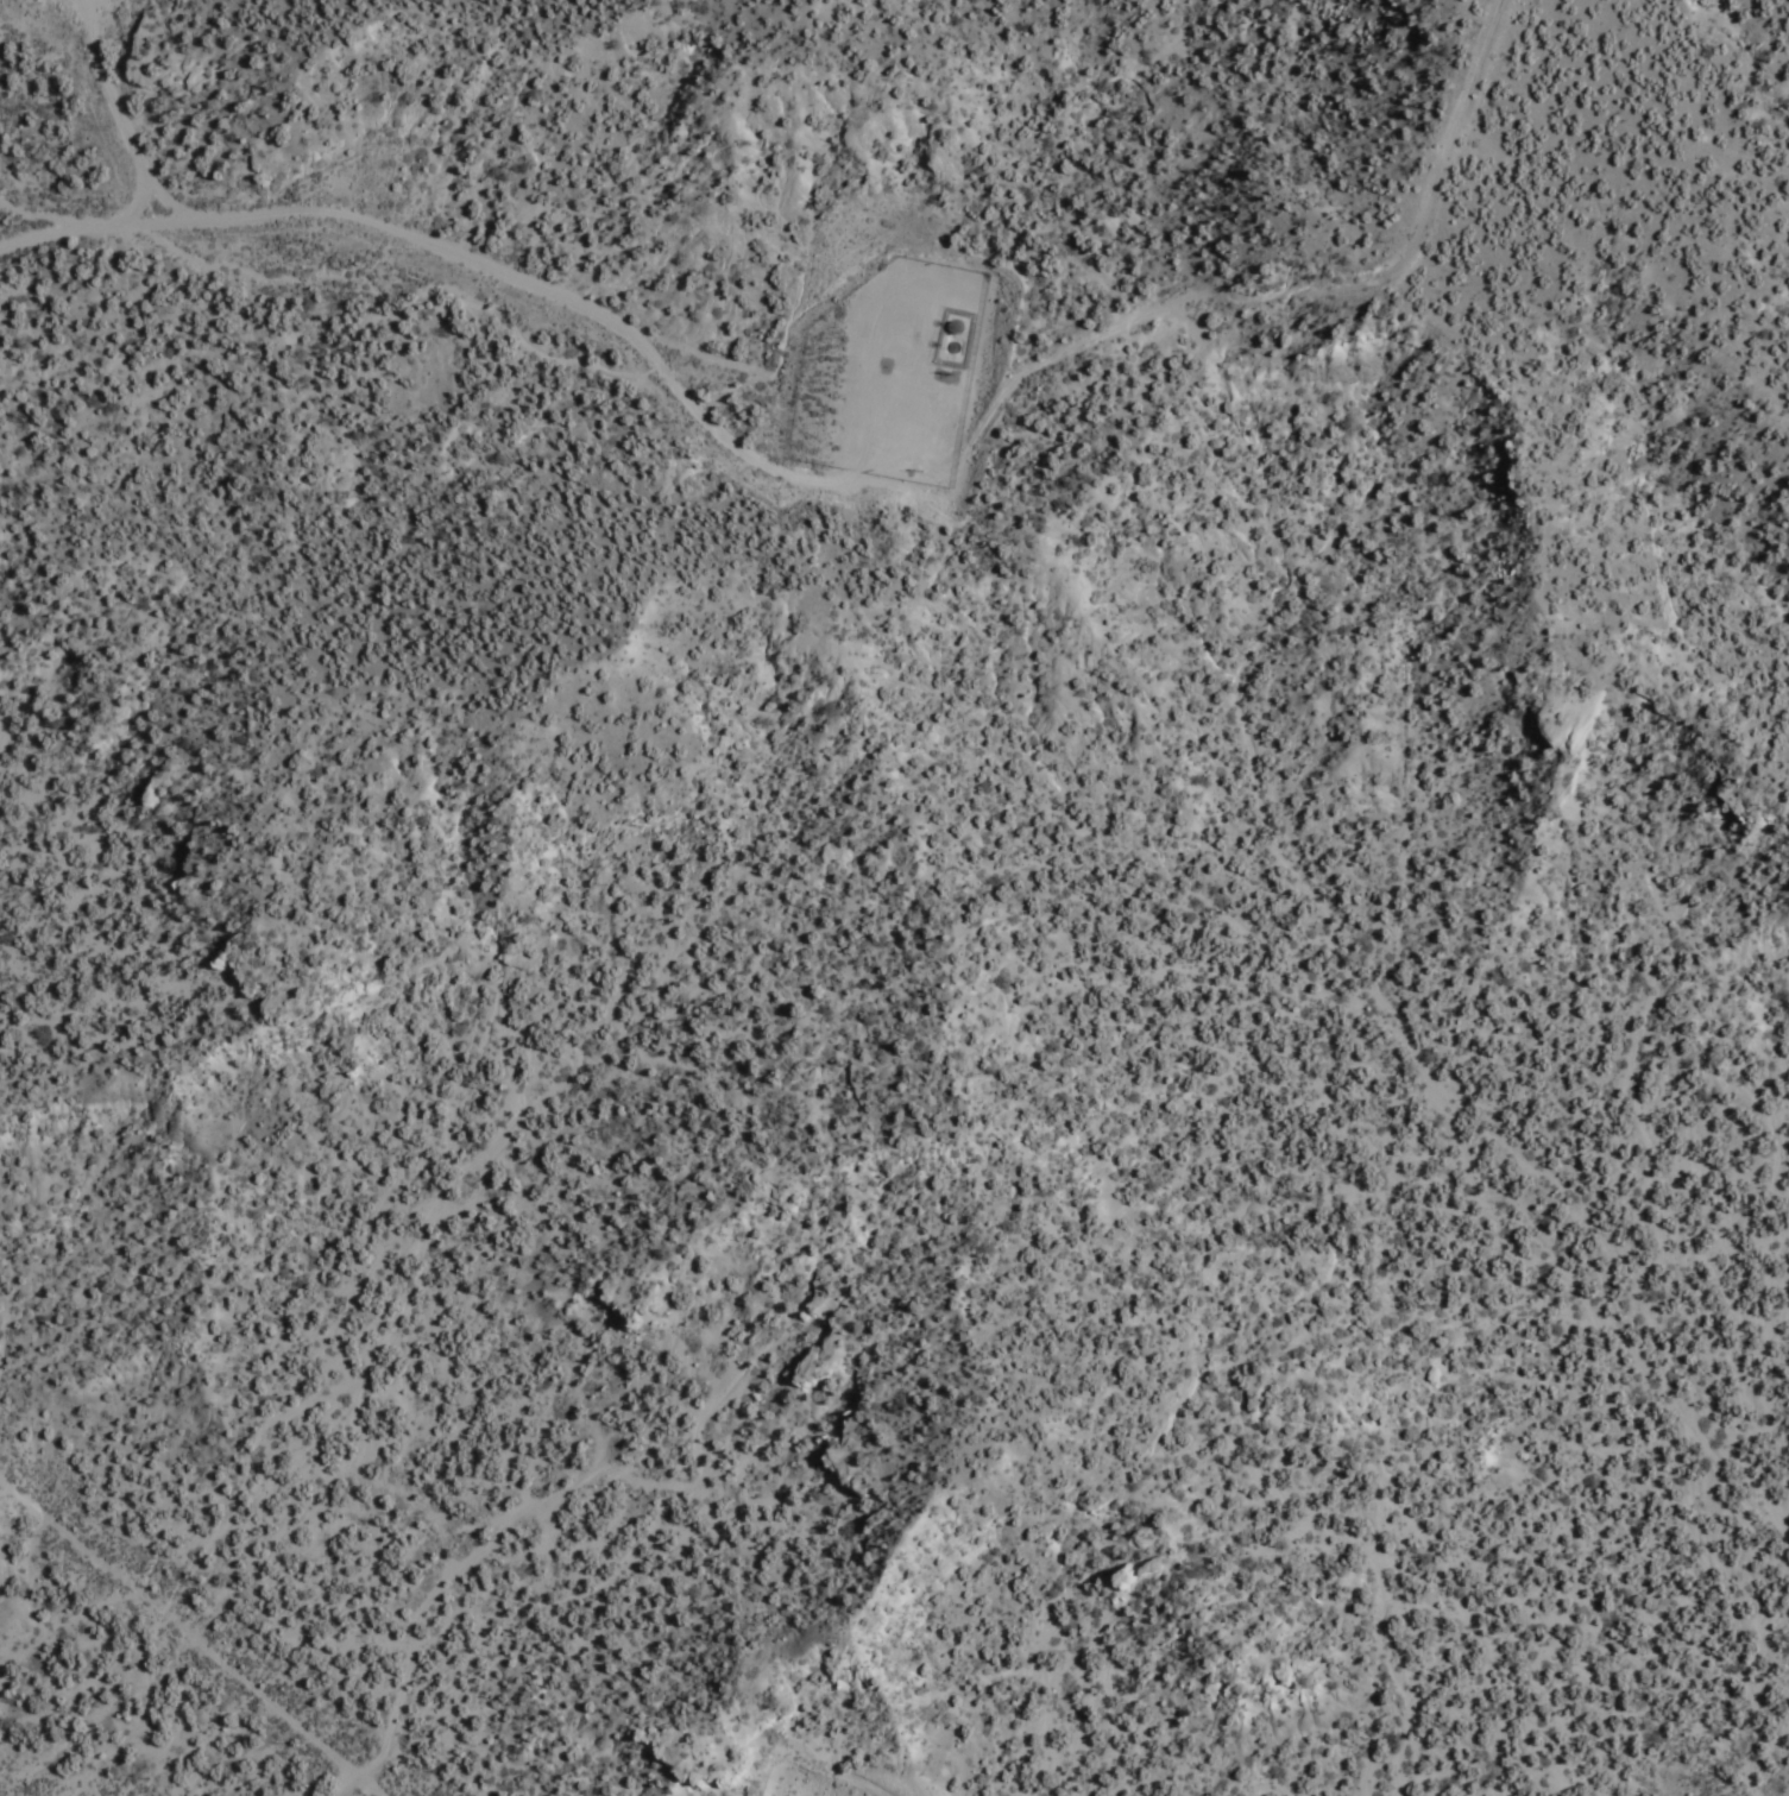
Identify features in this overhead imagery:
road: (90, 1)
road: (92, 1)
road: (130, 115)
road: (172, 196)
road: (465, 252)
road: (1215, 291)
road: (916, 309)
road: (508, 1521)
road: (196, 1631)

